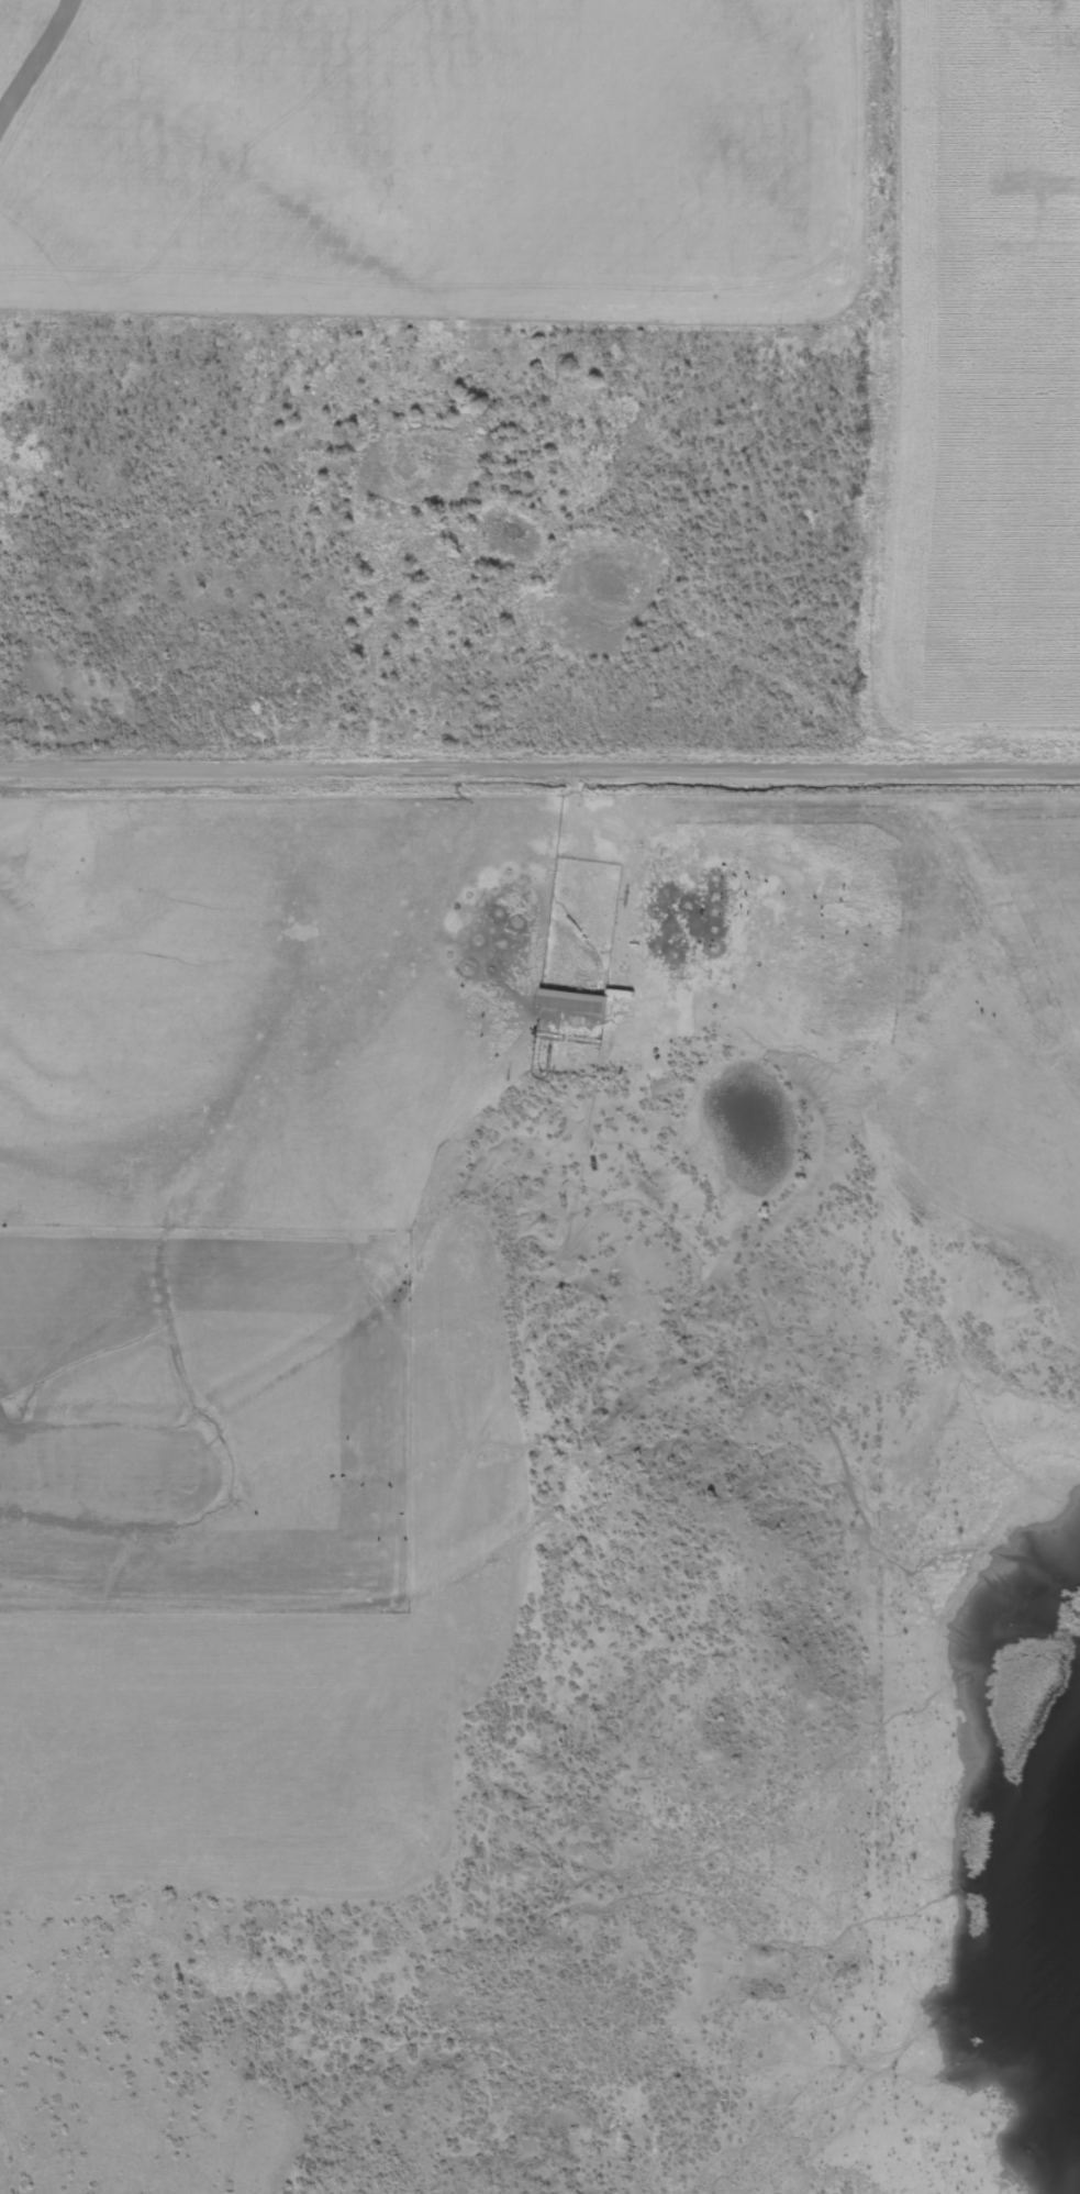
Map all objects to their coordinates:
road: (539, 765)
building: (572, 1002)

